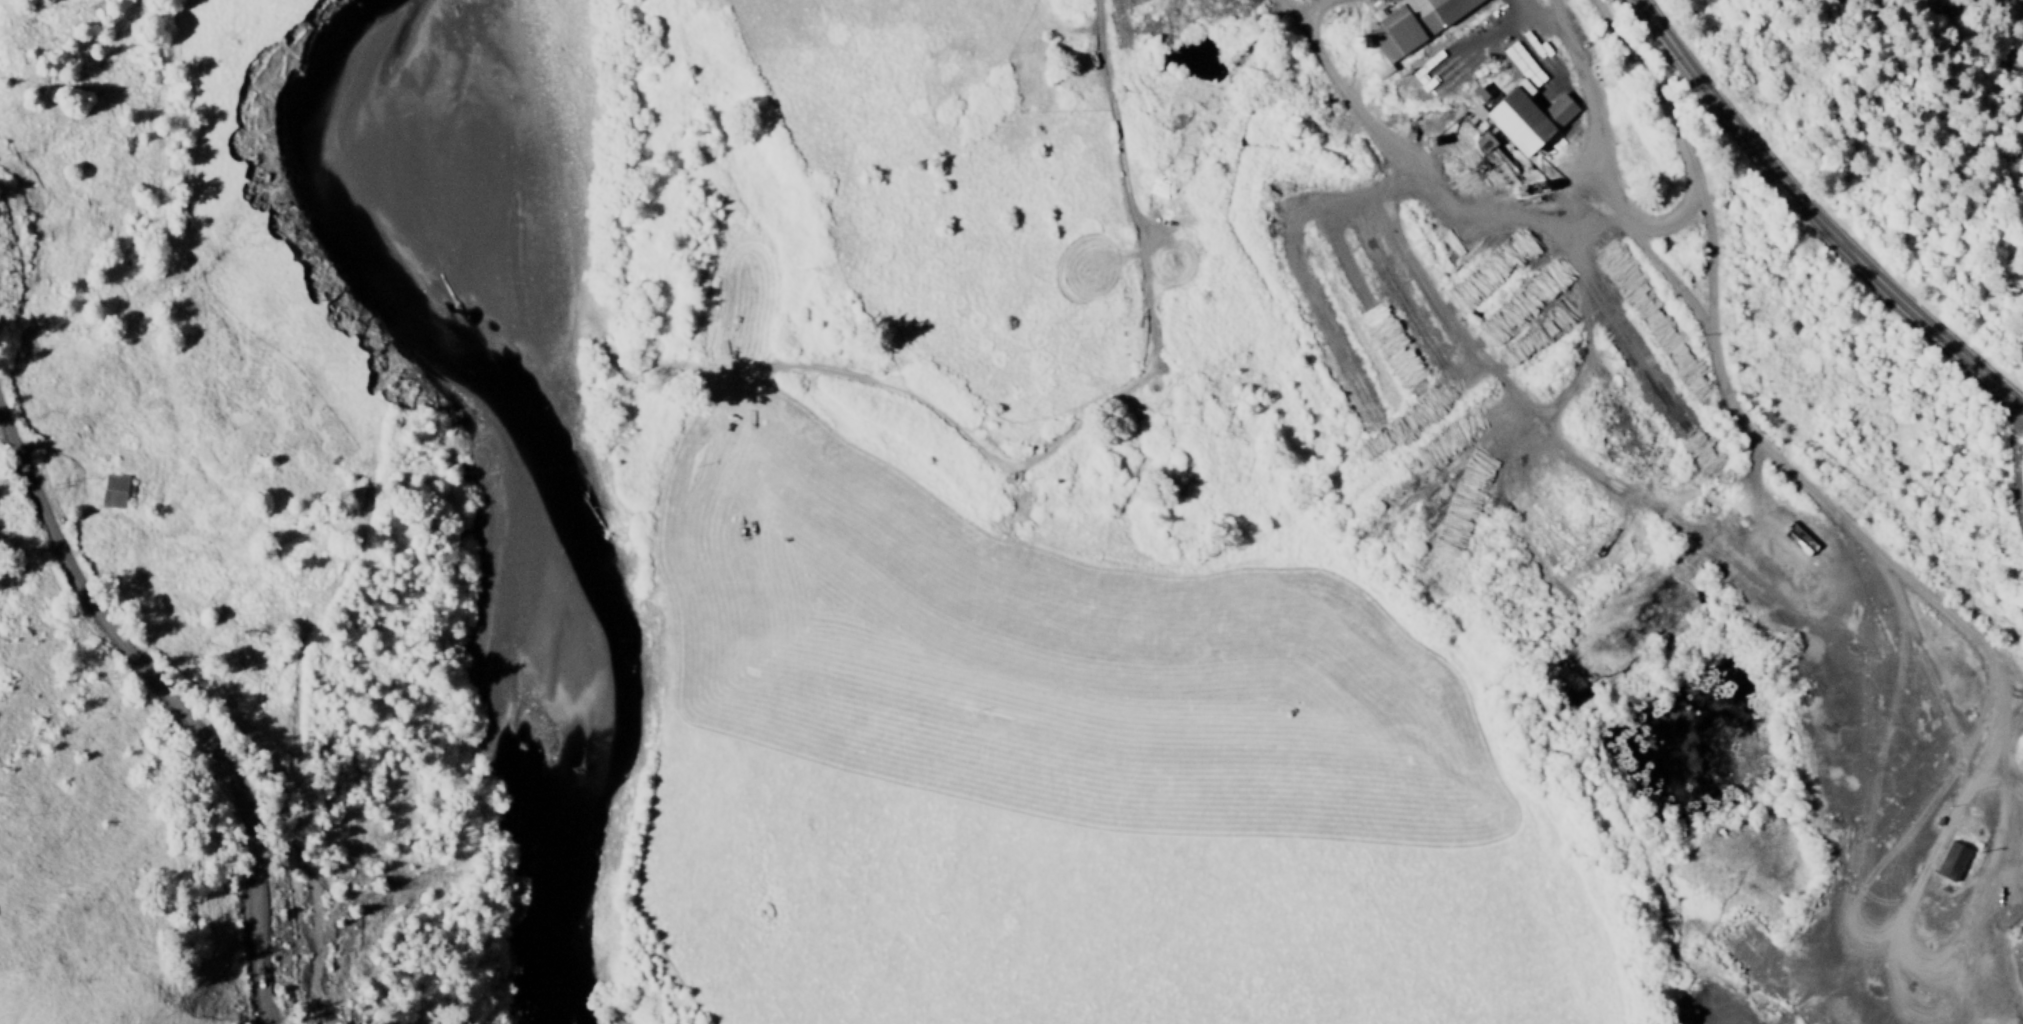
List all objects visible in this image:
road: (1542, 19)
road: (1561, 19)
building: (1407, 28)
building: (1517, 116)
road: (1837, 205)
road: (1706, 210)
road: (1633, 221)
railway: (1523, 224)
road: (1583, 235)
road: (1473, 343)
road: (1102, 406)
road: (2015, 457)
building: (115, 492)
river: (525, 511)
road: (1872, 547)
railway: (2006, 669)
road: (174, 706)
road: (1979, 711)
road: (1997, 747)
road: (1865, 758)
building: (1947, 861)
road: (1919, 877)

